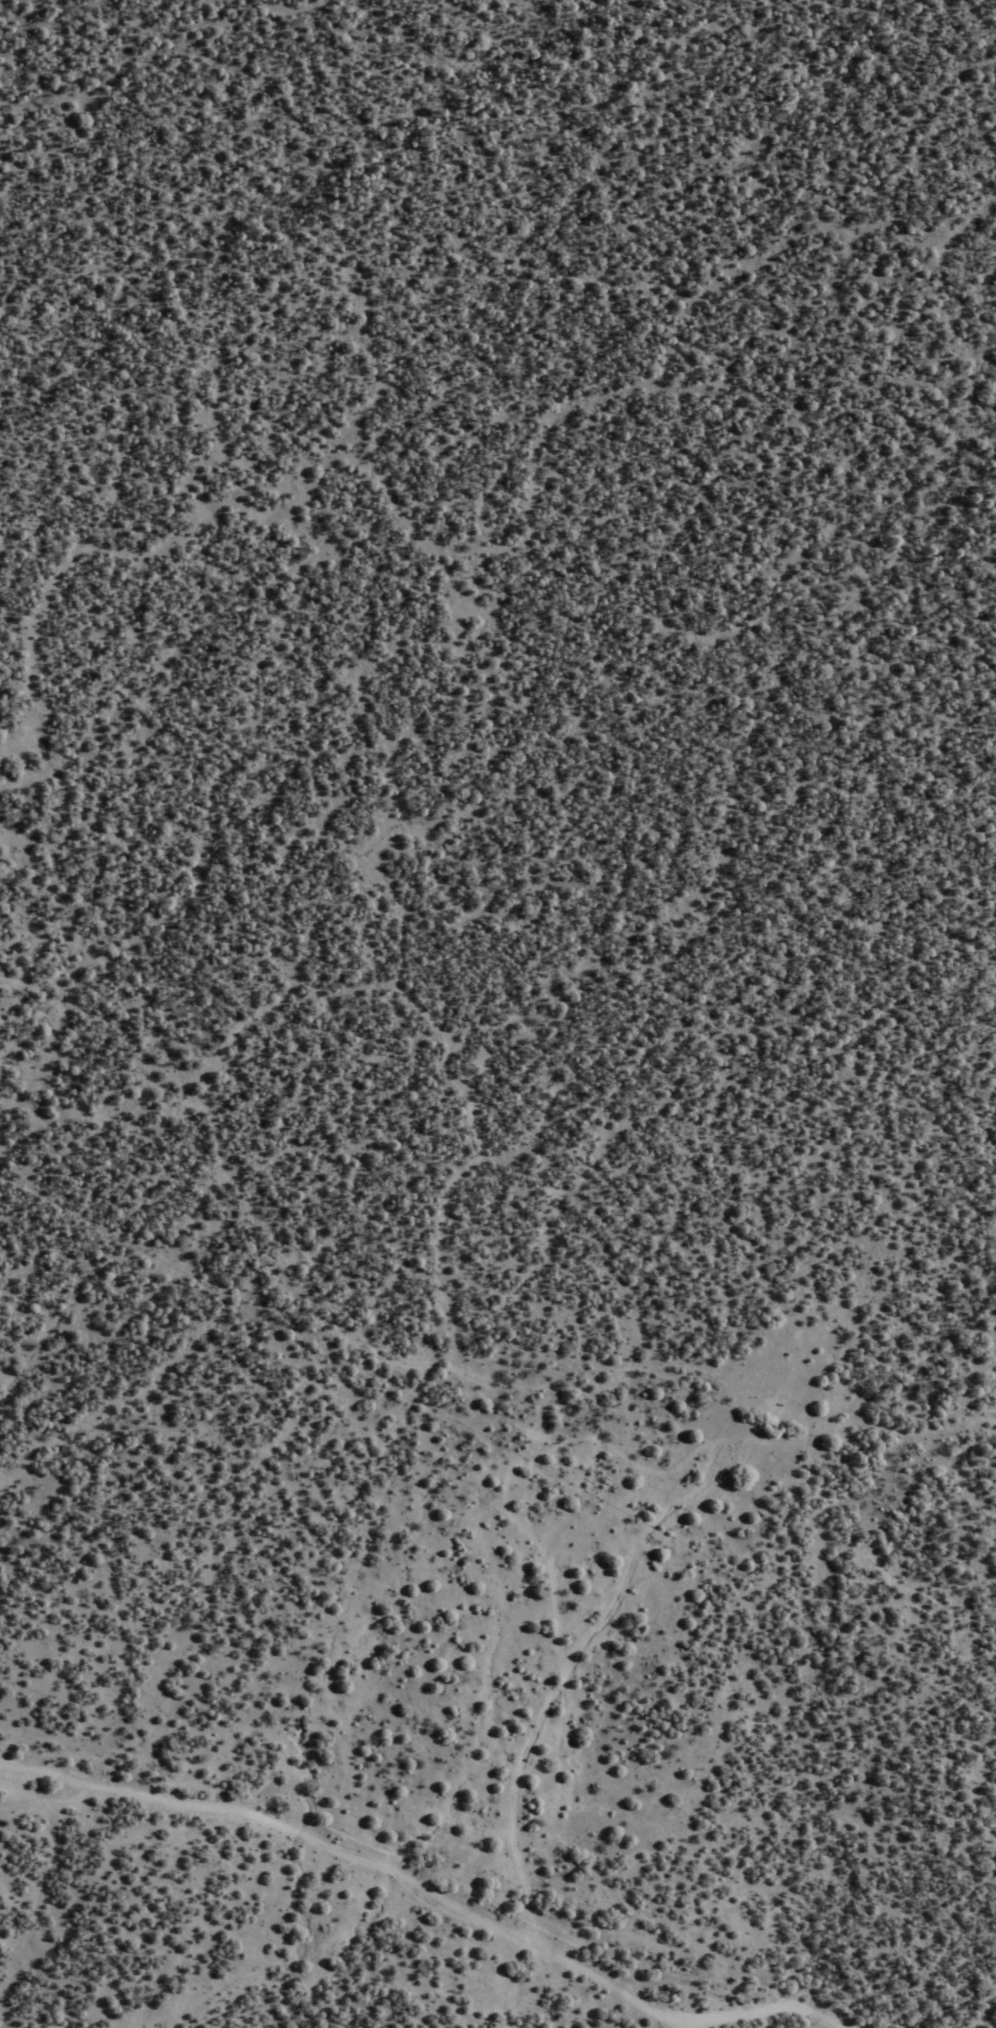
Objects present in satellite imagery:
road: (416, 1909)

